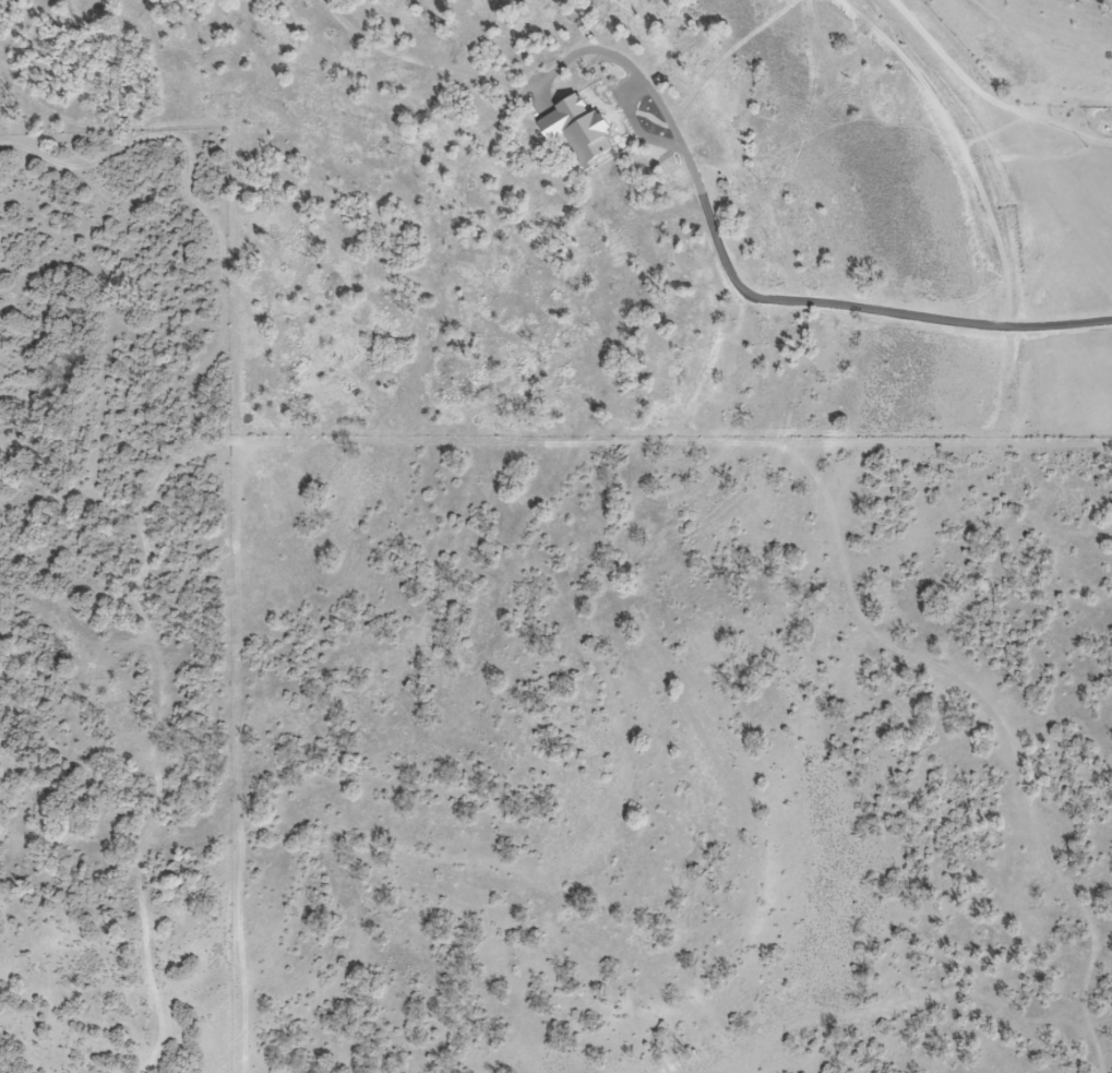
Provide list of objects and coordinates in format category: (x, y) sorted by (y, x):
road: (809, 297)

